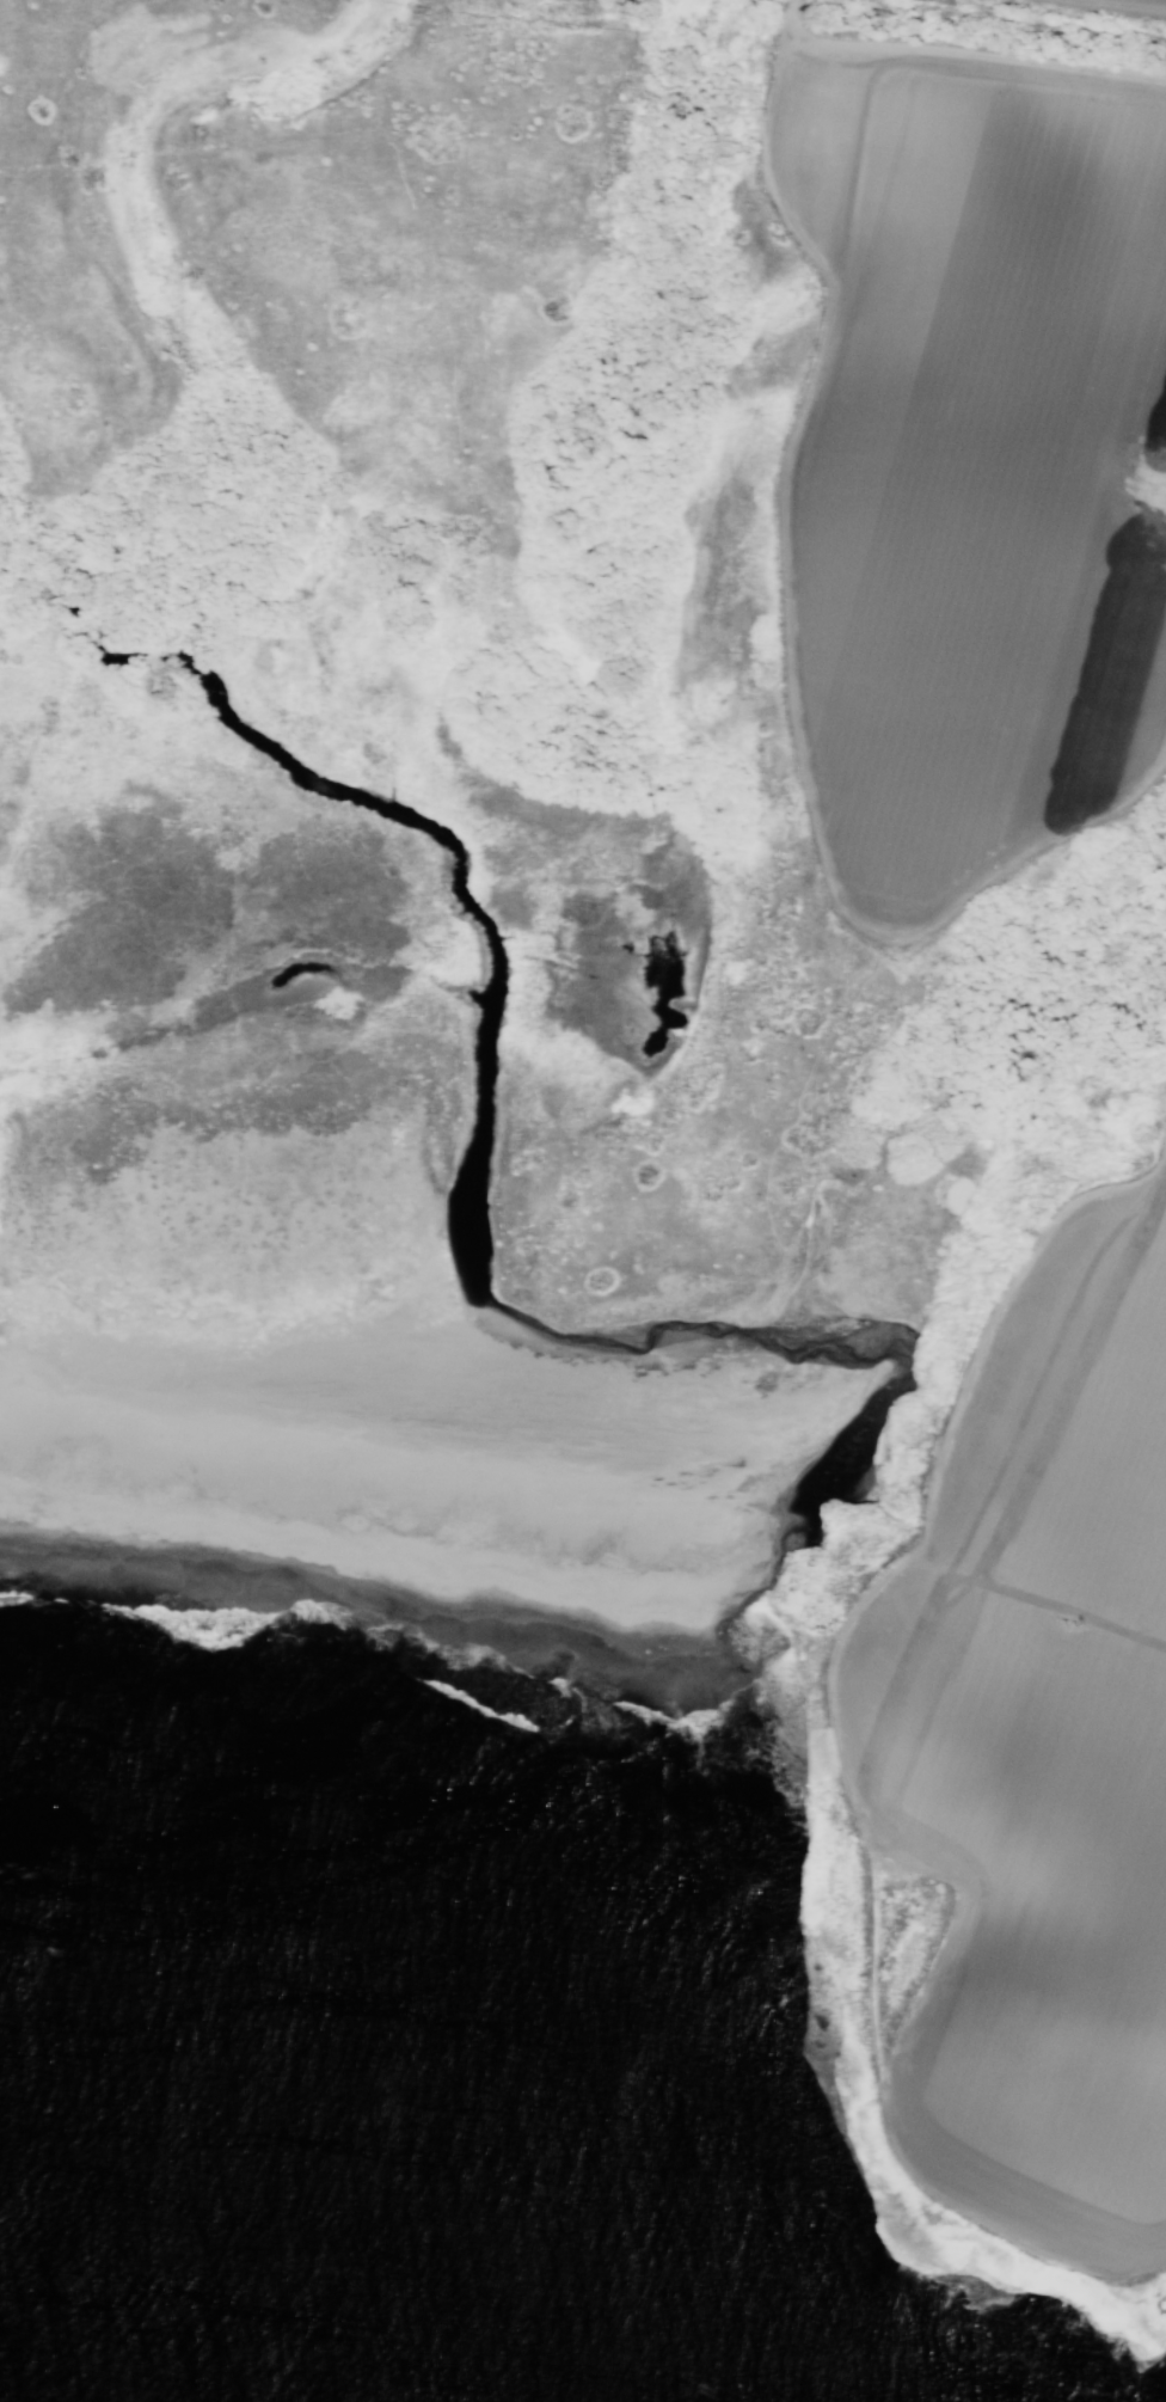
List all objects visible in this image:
crop: (1137, 4)
road: (1097, 8)
railway: (1017, 17)
road: (982, 53)
crop: (975, 459)
road: (1149, 529)
road: (791, 641)
road: (1044, 1599)
crop: (996, 1620)
road: (842, 1738)

